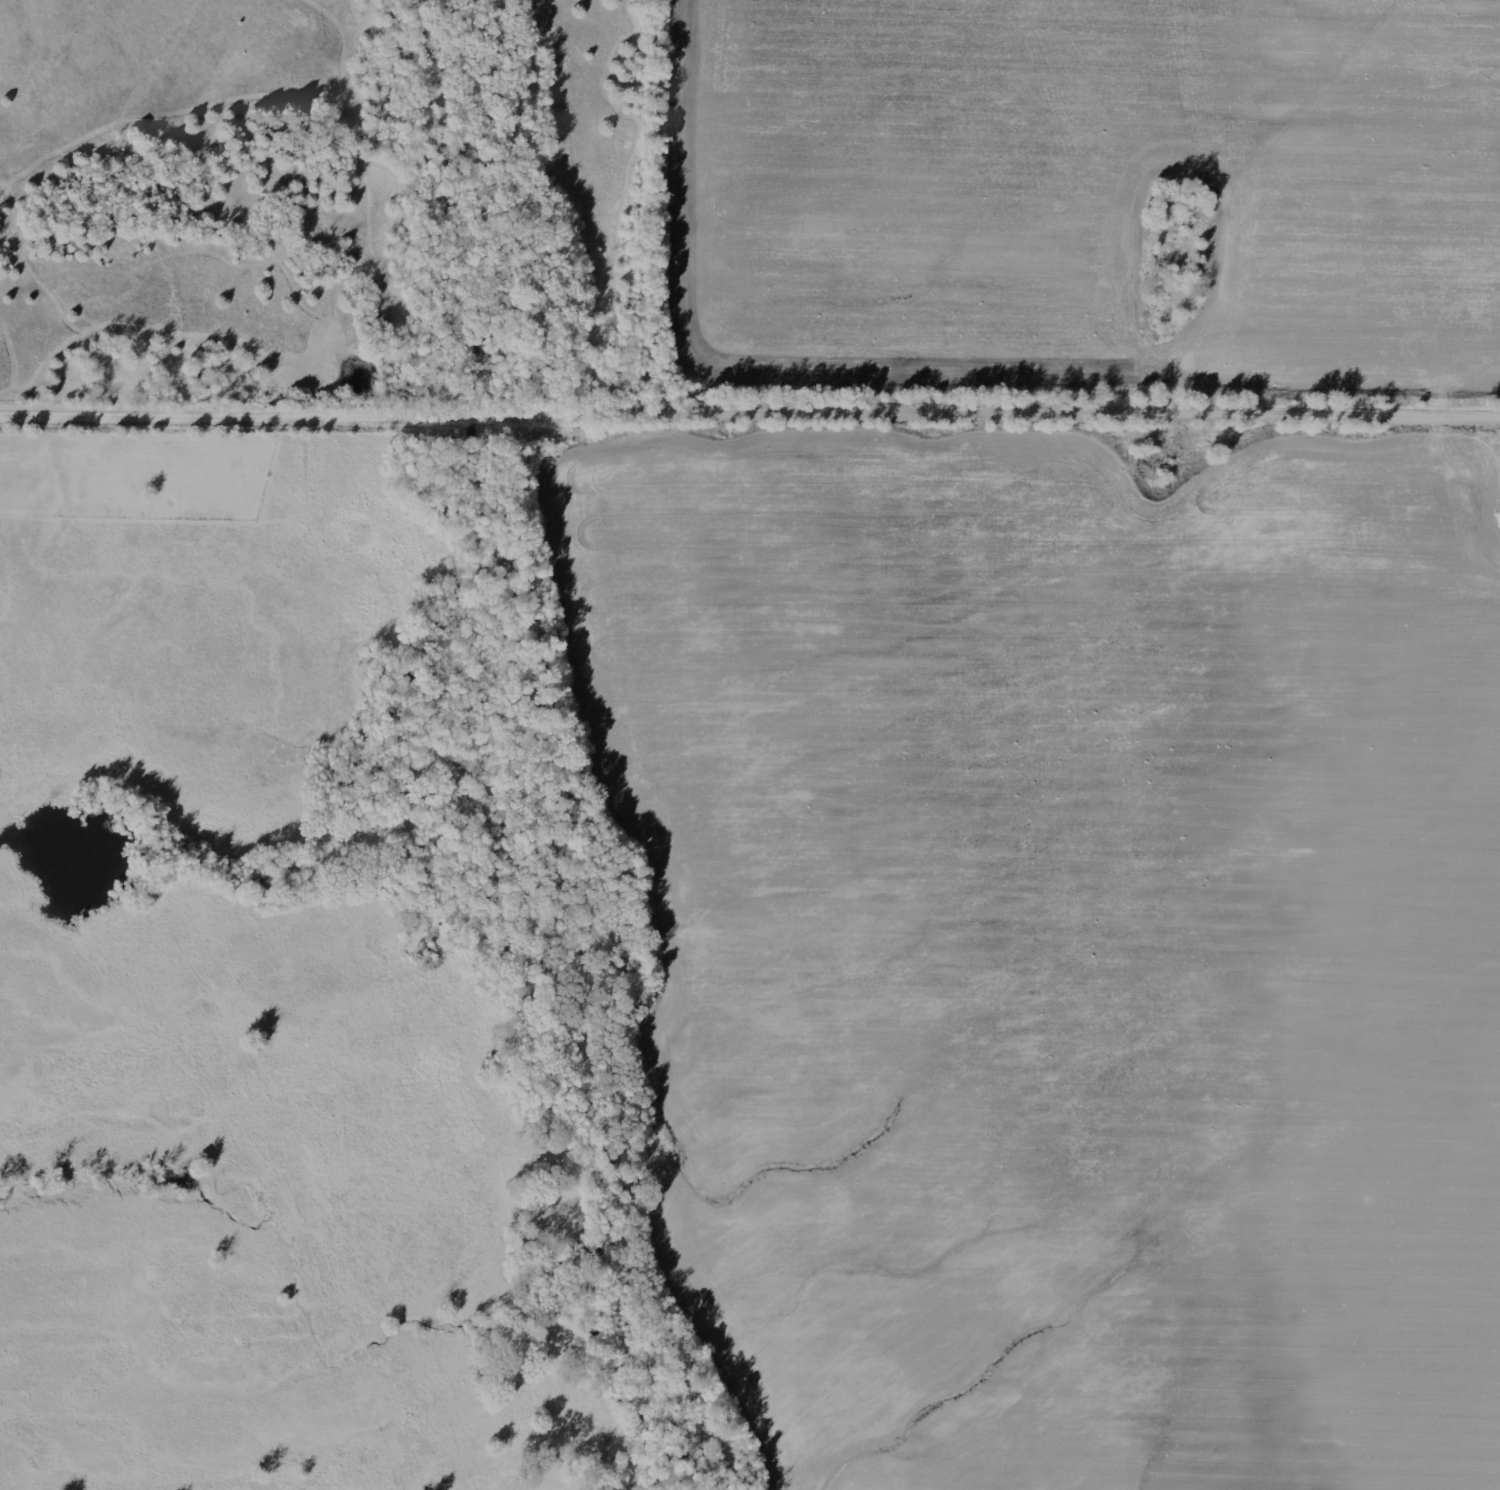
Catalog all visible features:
road: (1144, 291)
road: (1213, 335)
road: (750, 403)

